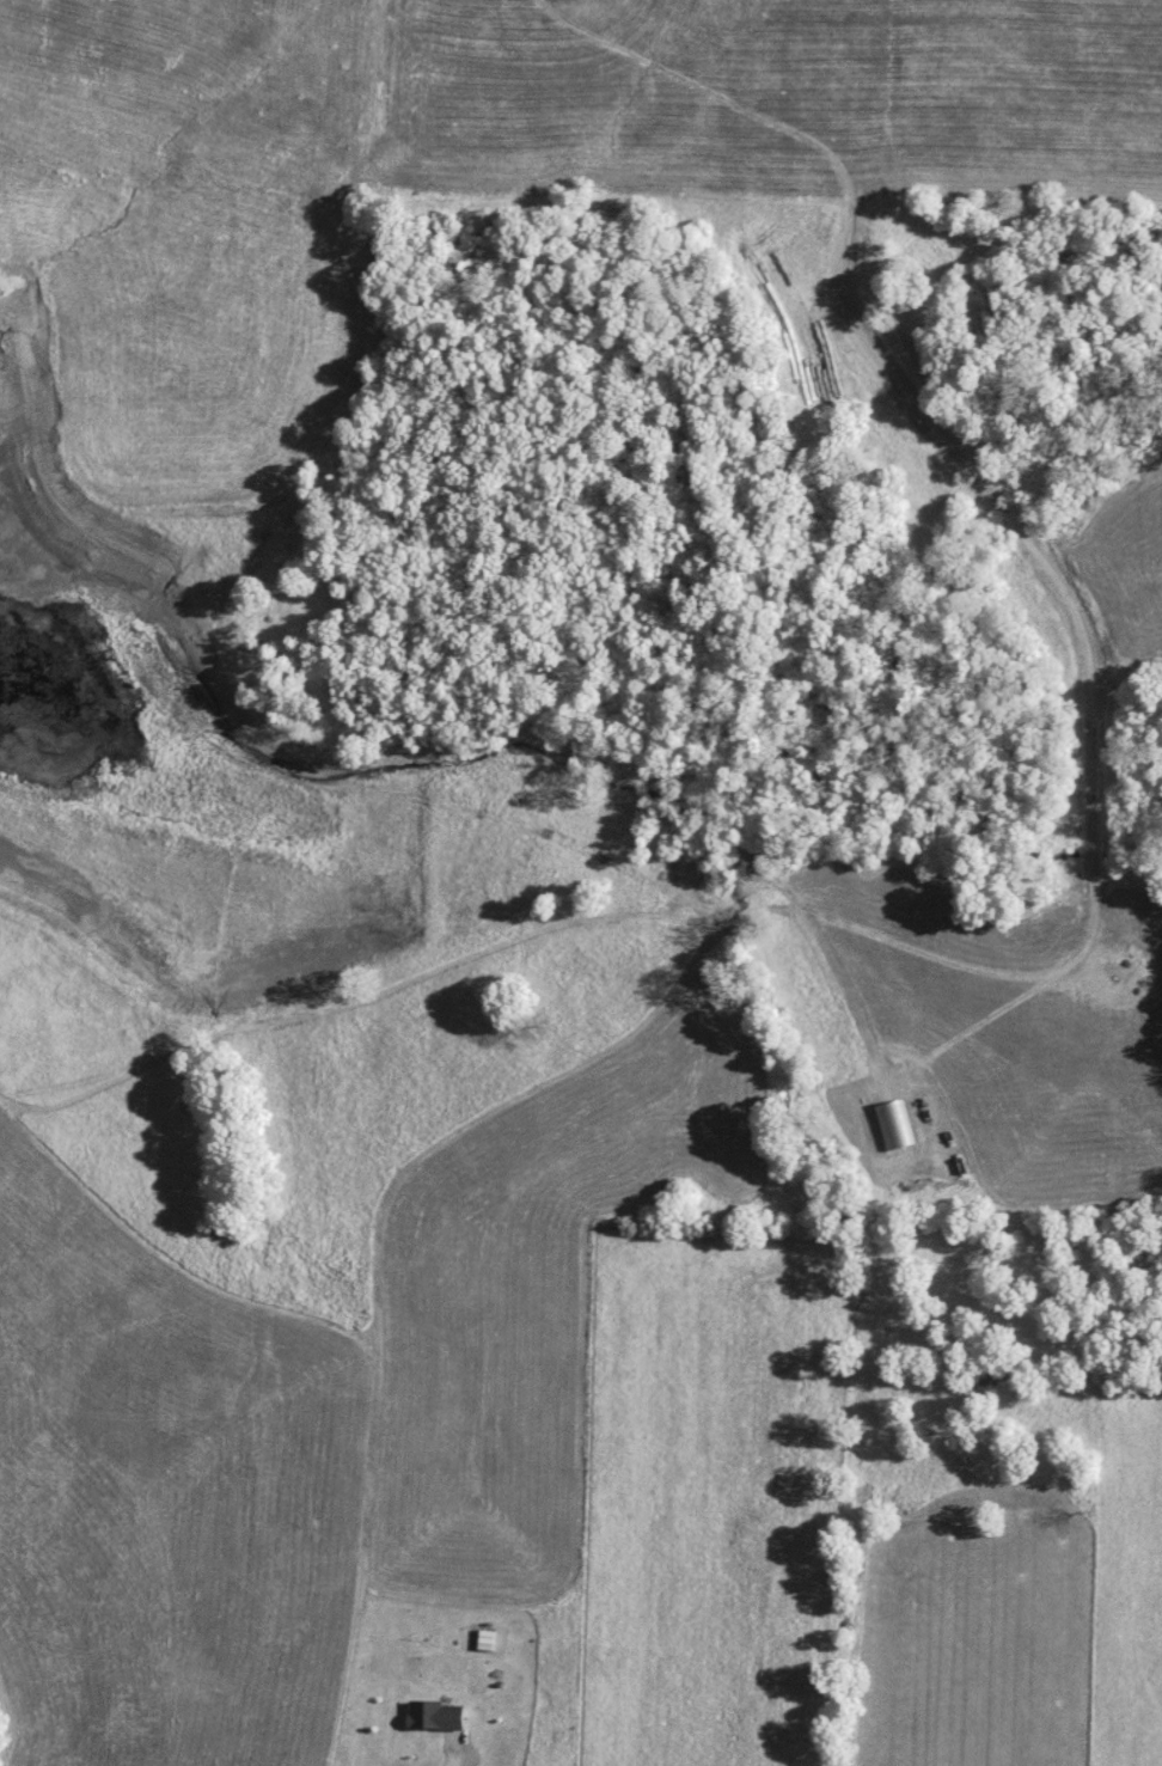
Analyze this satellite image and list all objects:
building: (441, 1715)
road: (449, 1748)

